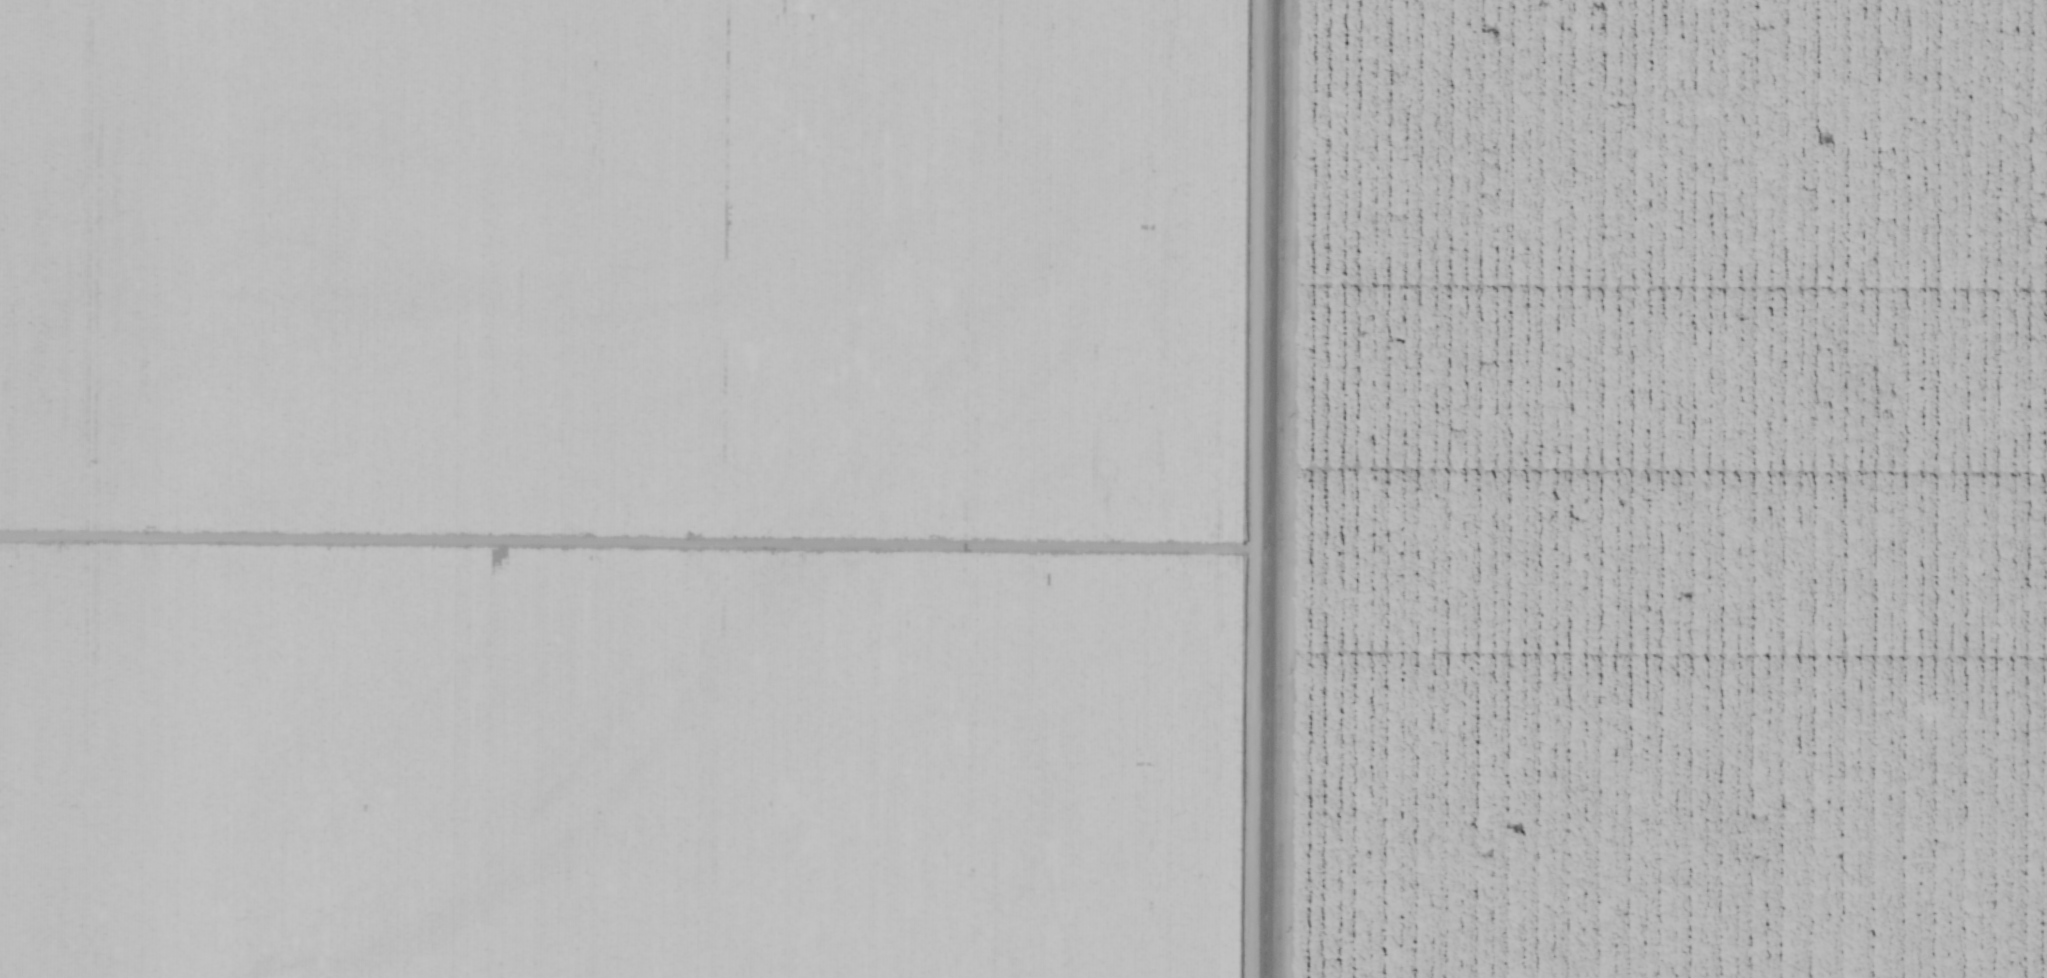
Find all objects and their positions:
crop: (1695, 488)
crop: (643, 489)
road: (1265, 489)

